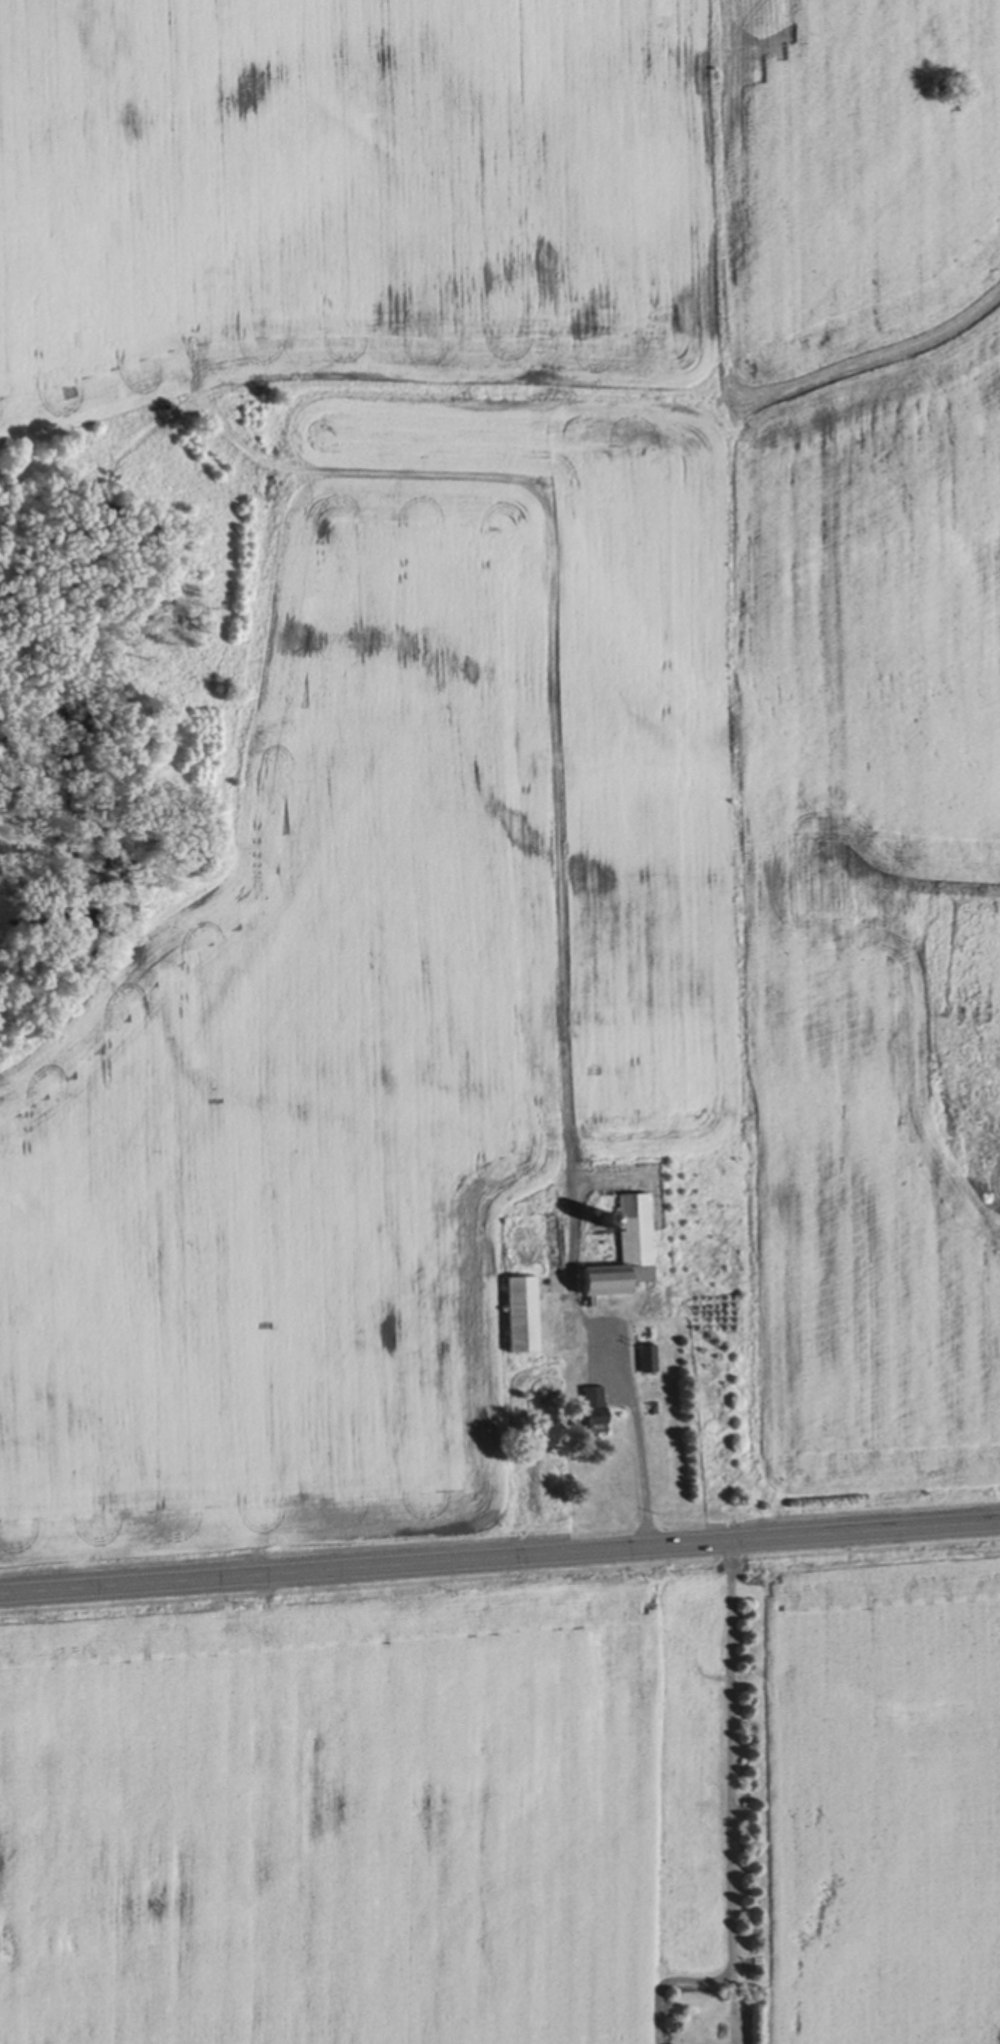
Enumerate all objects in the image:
crop: (487, 735)
building: (596, 1218)
building: (621, 1249)
building: (519, 1313)
building: (648, 1357)
building: (589, 1406)
road: (639, 1444)
road: (499, 1555)
crop: (877, 1789)
road: (733, 1791)
crop: (361, 1806)

